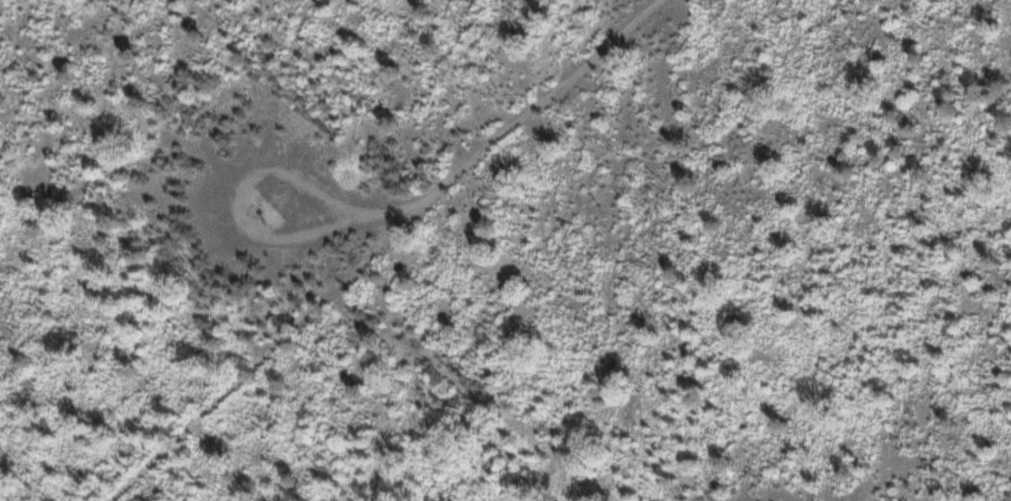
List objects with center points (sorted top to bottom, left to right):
building: (199, 124)
road: (623, 150)
road: (256, 230)
road: (378, 245)

